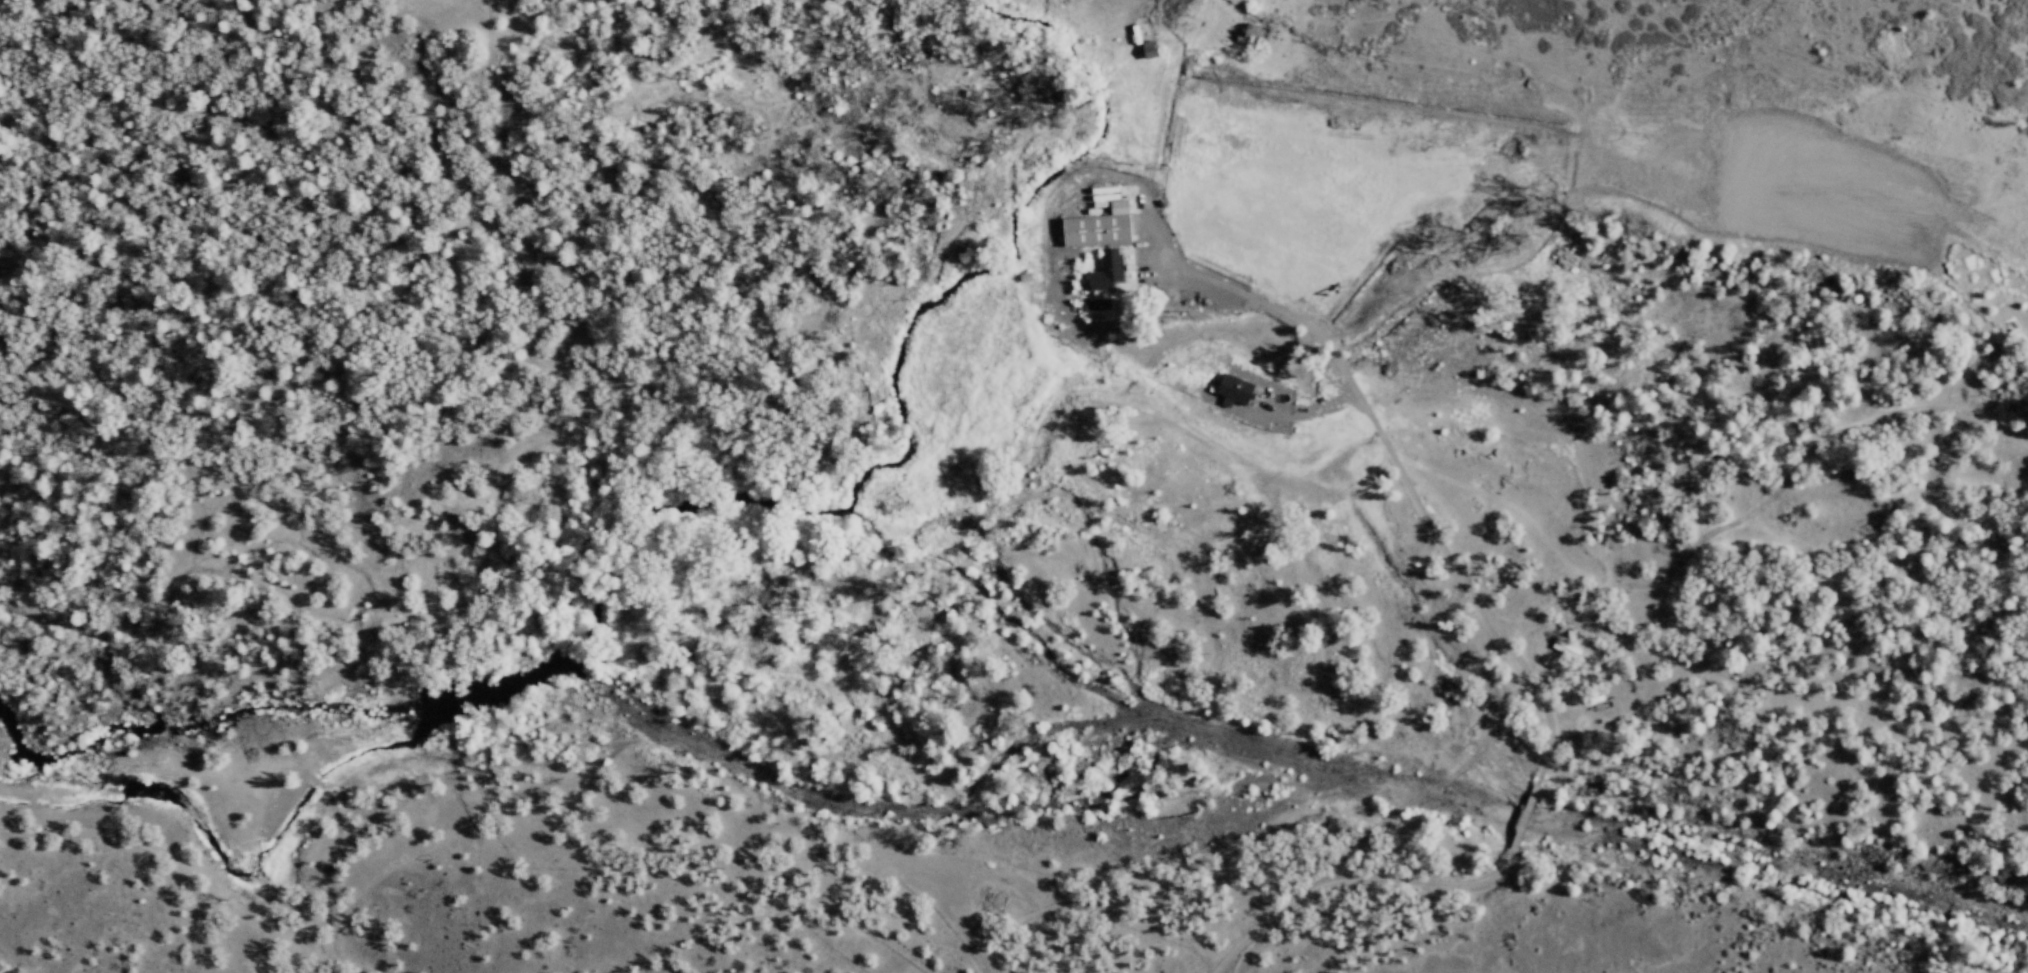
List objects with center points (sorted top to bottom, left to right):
building: (1139, 43)
building: (1101, 271)
building: (1228, 390)
road: (1362, 410)
road: (1764, 502)
river: (750, 770)
road: (1521, 818)
river: (1522, 819)
river: (1779, 870)
road: (1351, 881)

